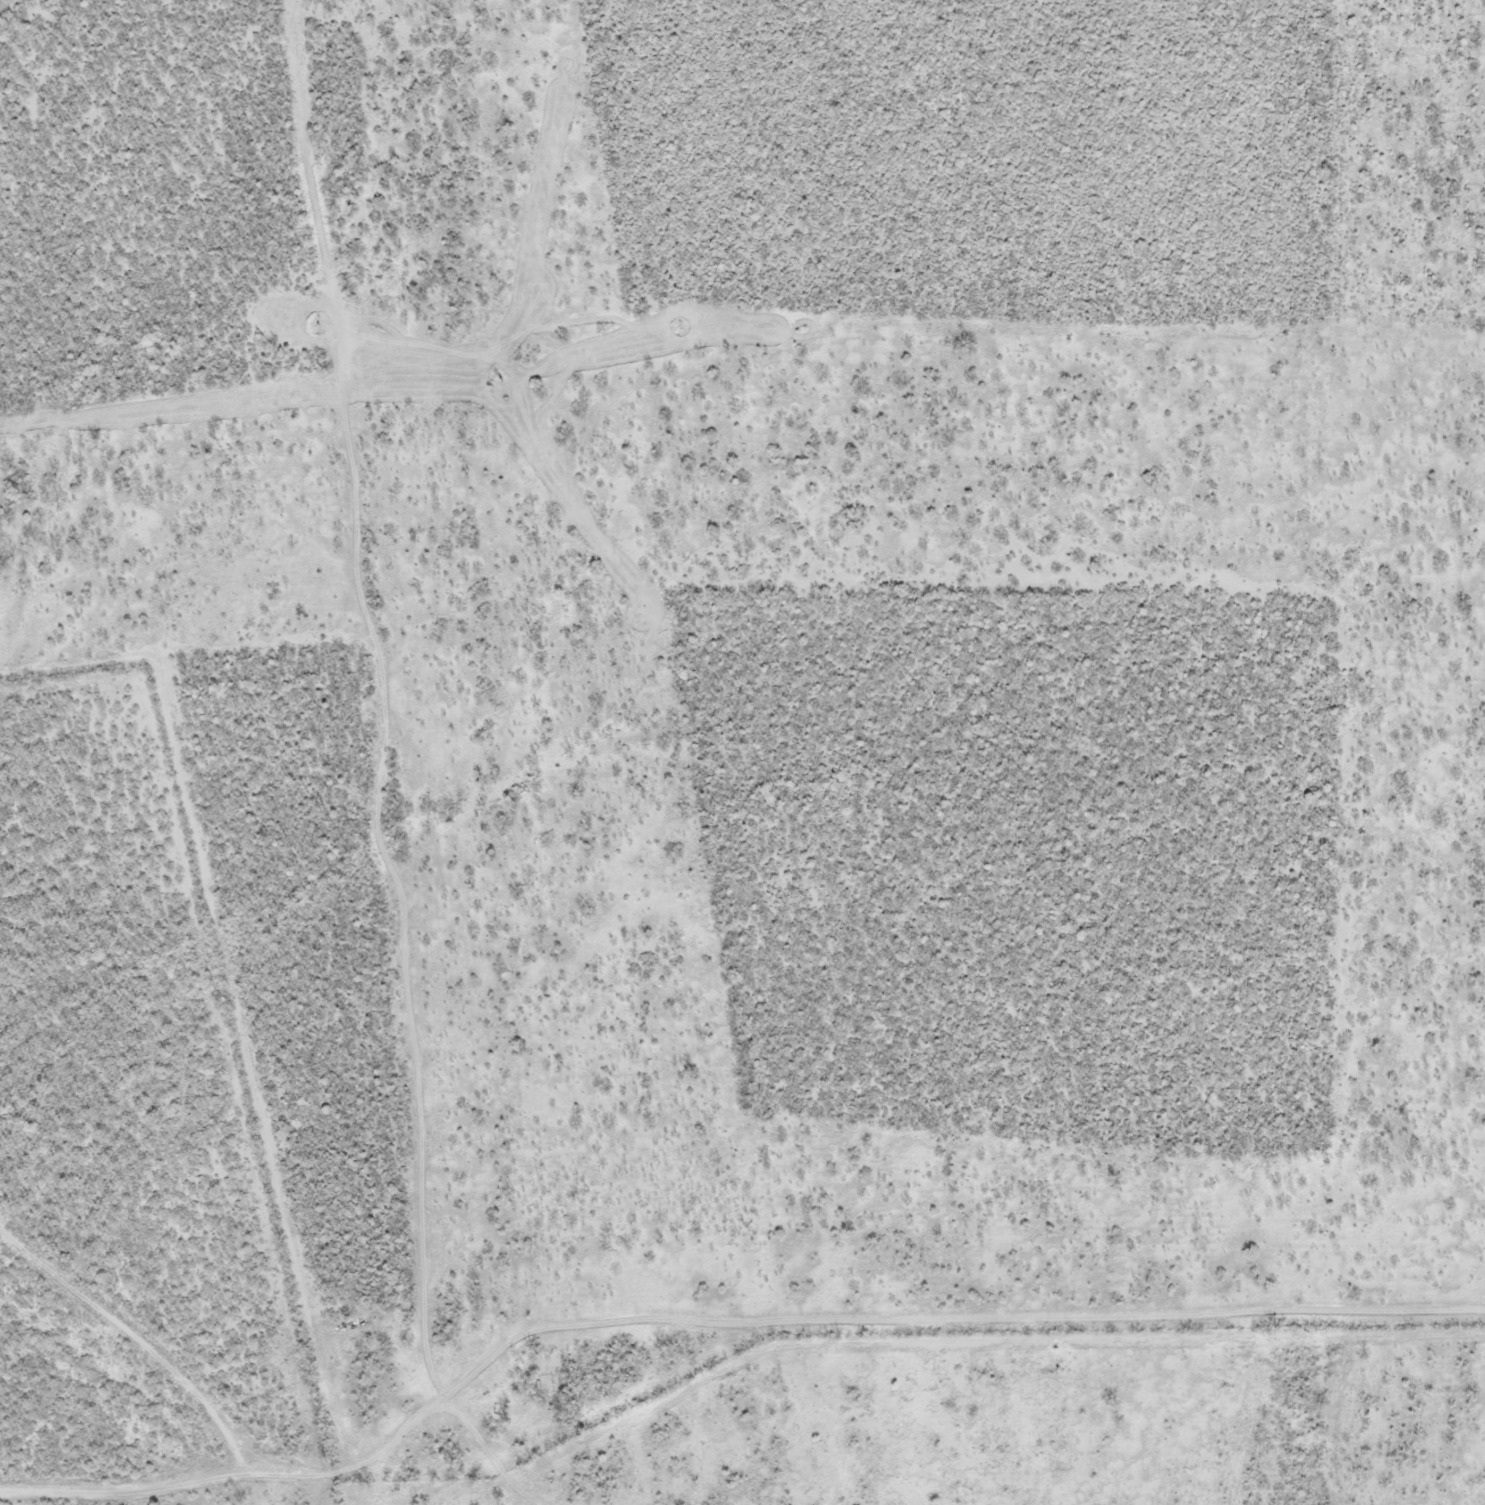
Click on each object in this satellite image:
road: (139, 1341)
road: (267, 1486)

